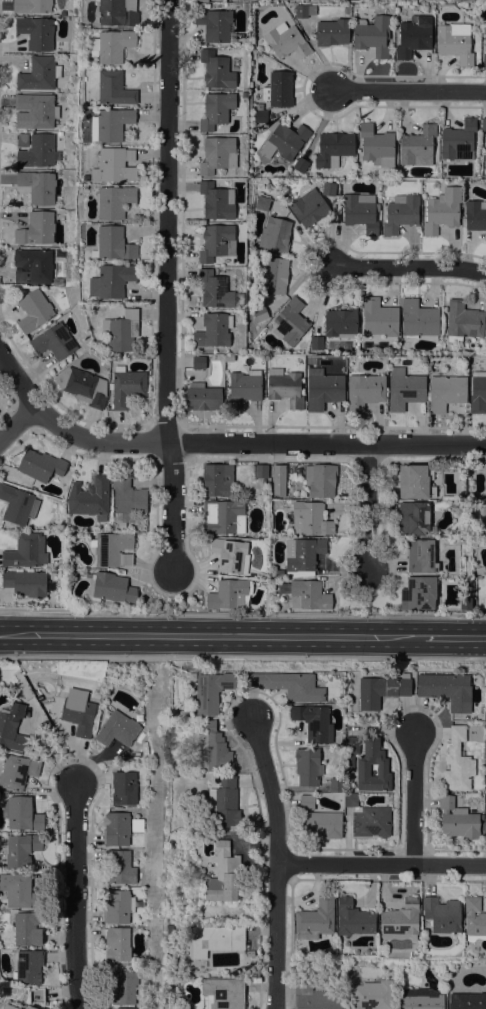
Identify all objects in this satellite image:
building: (201, 0)
building: (463, 0)
building: (31, 6)
building: (304, 10)
building: (62, 13)
building: (118, 13)
building: (214, 24)
building: (36, 32)
building: (332, 32)
building: (372, 36)
building: (413, 36)
building: (286, 41)
building: (455, 42)
building: (112, 45)
building: (484, 60)
building: (216, 70)
building: (39, 74)
building: (112, 89)
building: (278, 89)
road: (409, 91)
building: (244, 94)
building: (216, 110)
building: (35, 111)
building: (259, 114)
building: (111, 124)
building: (483, 124)
building: (21, 140)
building: (284, 140)
building: (458, 141)
building: (376, 145)
building: (418, 146)
building: (333, 149)
building: (37, 151)
building: (218, 154)
building: (117, 165)
building: (300, 165)
building: (38, 186)
building: (328, 188)
building: (115, 201)
building: (216, 201)
building: (262, 203)
building: (309, 207)
building: (442, 210)
building: (360, 212)
building: (400, 213)
building: (474, 216)
building: (36, 229)
building: (275, 234)
building: (216, 242)
building: (113, 244)
building: (33, 266)
road: (407, 266)
building: (276, 275)
building: (111, 280)
building: (56, 281)
road: (165, 284)
building: (214, 289)
building: (33, 311)
building: (259, 313)
building: (378, 319)
building: (418, 319)
building: (290, 321)
building: (463, 321)
building: (340, 323)
building: (121, 330)
building: (213, 330)
building: (54, 341)
building: (316, 342)
building: (198, 362)
road: (17, 379)
building: (83, 386)
building: (126, 386)
building: (243, 388)
building: (286, 388)
building: (323, 389)
building: (405, 389)
building: (364, 391)
building: (446, 392)
building: (478, 392)
building: (202, 397)
road: (229, 441)
building: (40, 465)
building: (261, 471)
building: (278, 471)
building: (320, 479)
building: (217, 480)
building: (414, 482)
building: (277, 492)
building: (89, 498)
building: (127, 501)
building: (17, 505)
road: (366, 507)
building: (223, 517)
building: (413, 518)
building: (310, 519)
building: (485, 530)
building: (112, 549)
building: (25, 551)
building: (230, 555)
building: (302, 556)
building: (421, 556)
building: (480, 570)
building: (278, 573)
building: (27, 583)
building: (110, 587)
road: (171, 590)
road: (364, 593)
building: (418, 593)
building: (229, 594)
building: (307, 594)
road: (124, 610)
road: (367, 614)
road: (165, 636)
road: (376, 637)
road: (453, 638)
road: (243, 658)
building: (289, 685)
building: (381, 690)
building: (446, 690)
building: (211, 691)
building: (78, 714)
building: (313, 722)
building: (11, 726)
building: (117, 729)
building: (213, 749)
building: (350, 751)
building: (457, 762)
building: (307, 766)
building: (363, 768)
building: (17, 771)
building: (336, 785)
building: (123, 788)
road: (415, 799)
building: (350, 800)
building: (224, 802)
building: (21, 814)
building: (318, 820)
building: (457, 820)
building: (371, 821)
building: (116, 828)
building: (21, 850)
road: (278, 864)
road: (382, 865)
building: (118, 867)
building: (223, 875)
building: (17, 889)
road: (78, 897)
building: (117, 906)
building: (442, 915)
building: (474, 917)
building: (353, 918)
building: (401, 918)
building: (315, 919)
building: (27, 929)
building: (170, 929)
building: (216, 939)
building: (116, 944)
building: (250, 953)
building: (28, 967)
building: (122, 987)
building: (224, 993)
building: (371, 995)
building: (315, 997)
building: (419, 999)
building: (467, 999)
building: (9, 1007)
building: (31, 1007)
building: (120, 1008)

